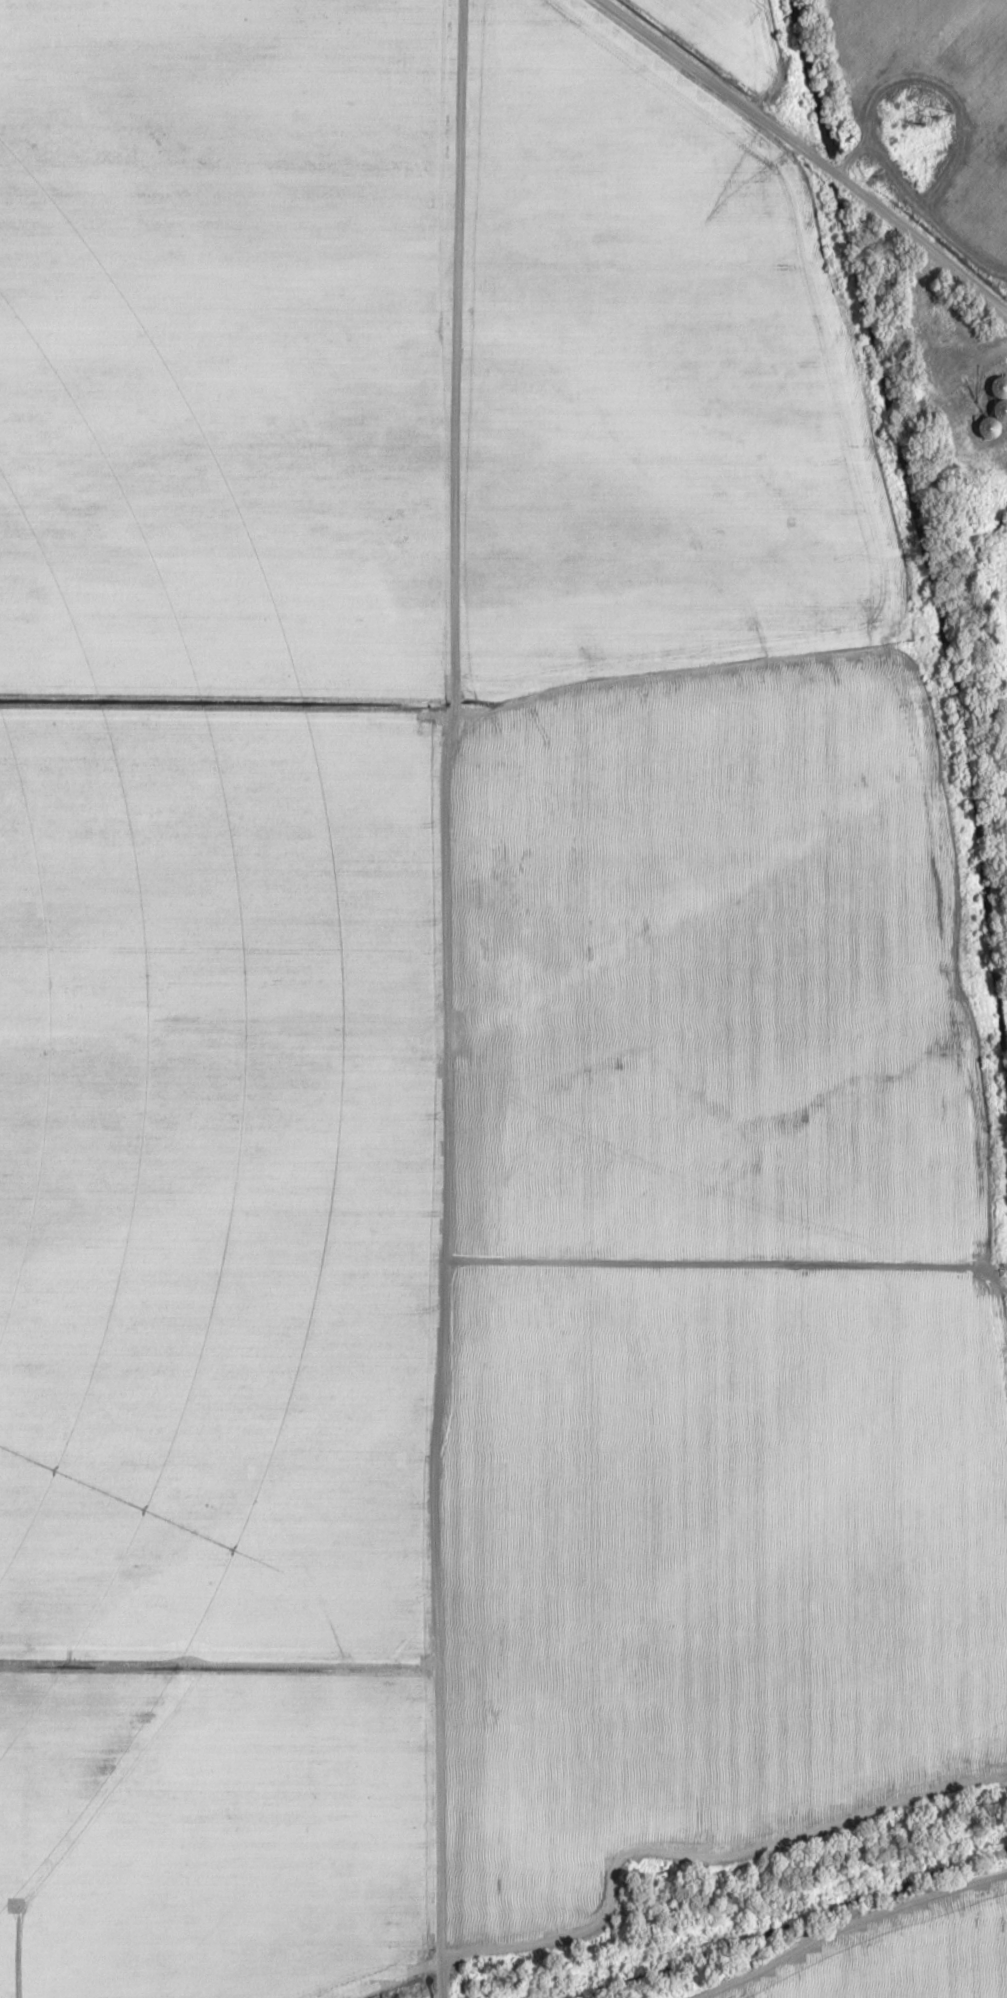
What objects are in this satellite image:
power tower: (937, 115)
road: (808, 152)
building: (996, 411)

